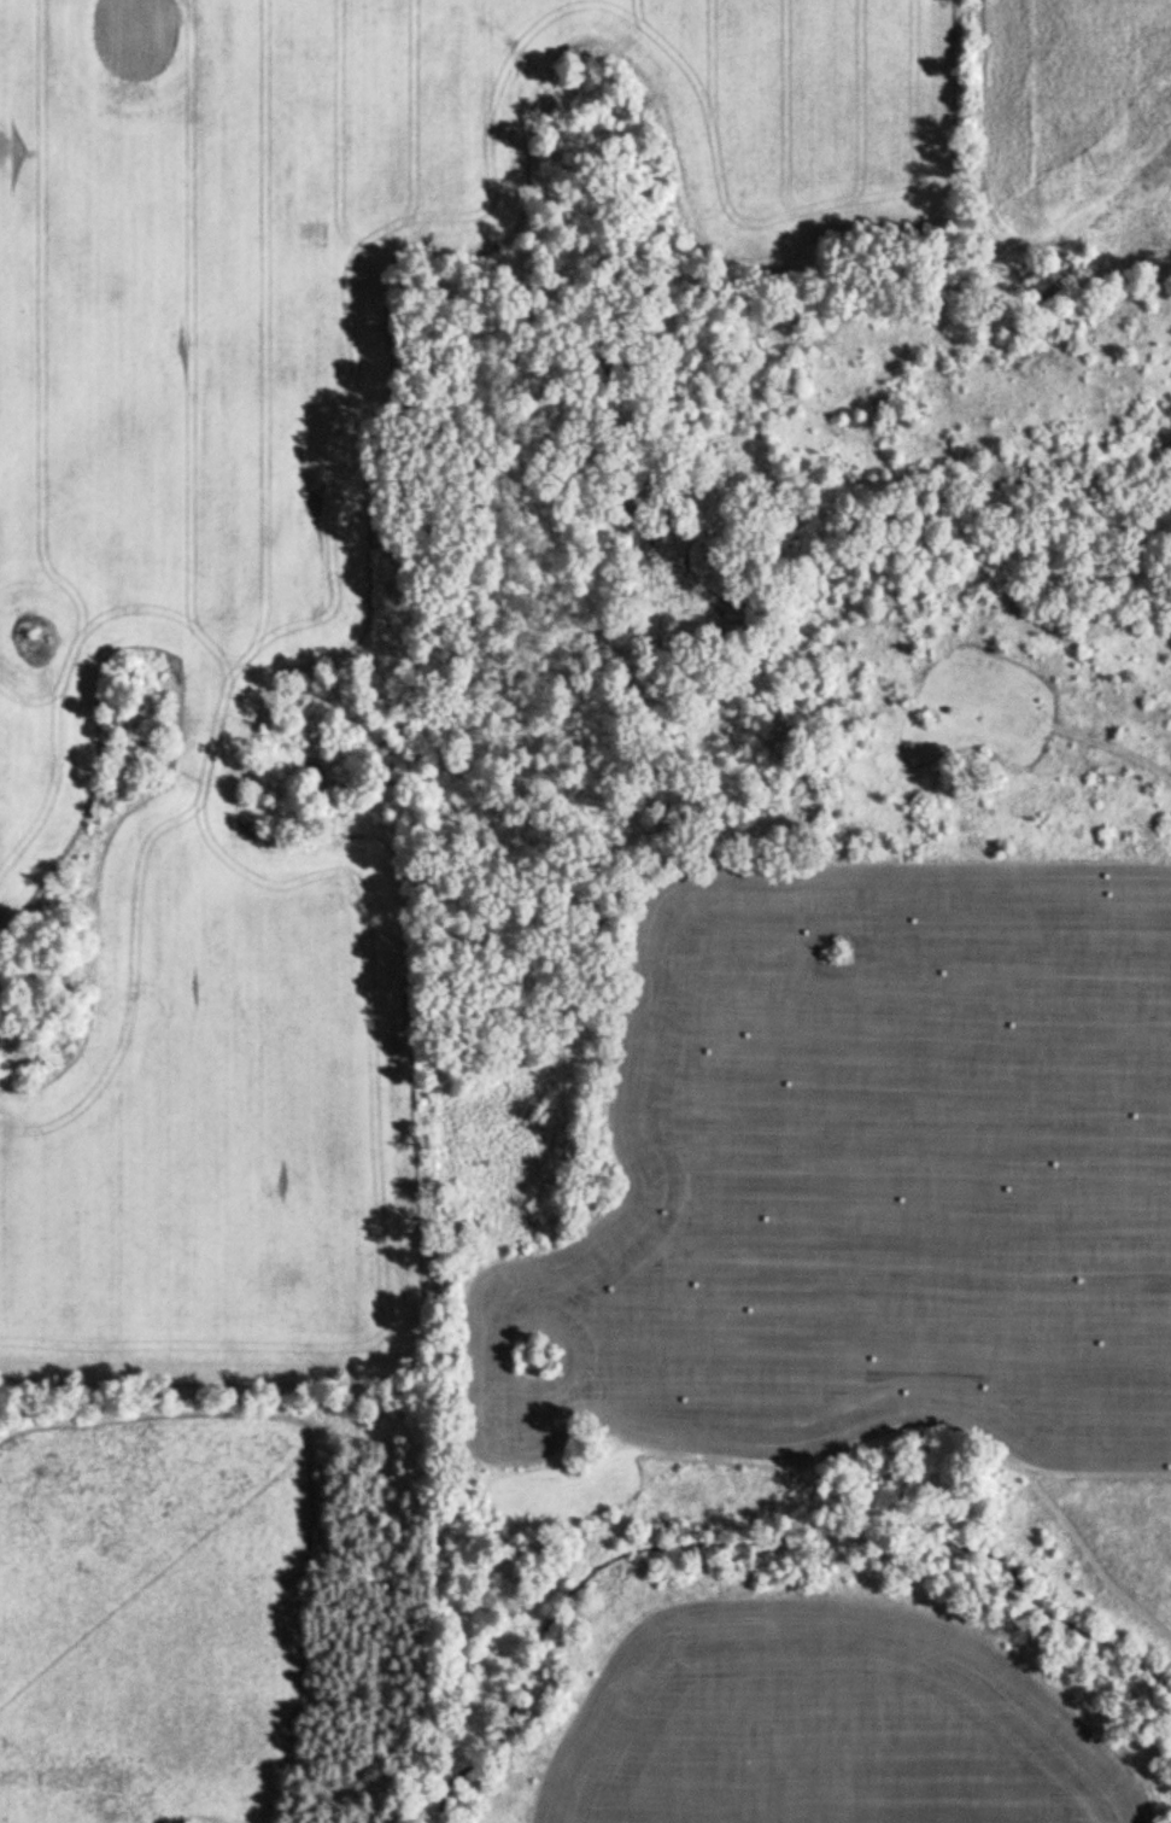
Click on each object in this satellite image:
crop: (1090, 112)
crop: (324, 294)
crop: (216, 1116)
crop: (862, 1174)
crop: (844, 1728)

